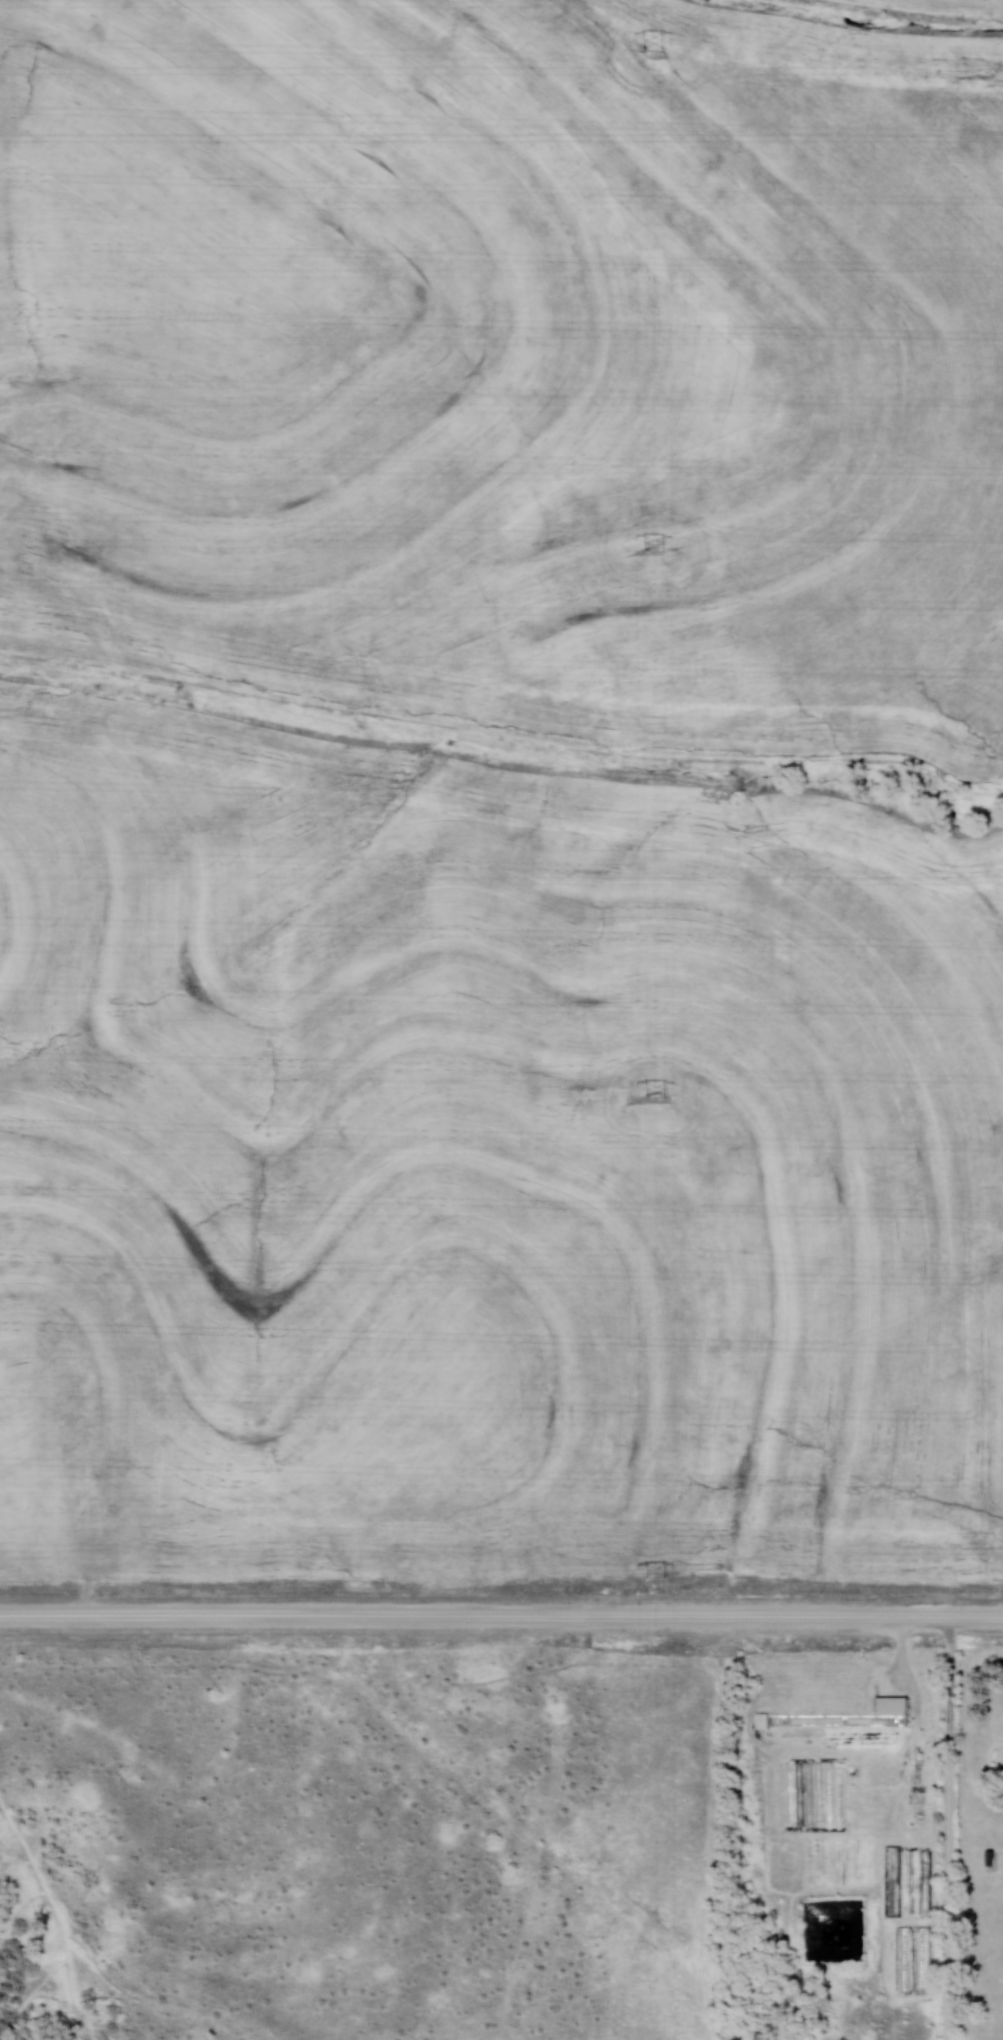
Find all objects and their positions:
power tower: (667, 61)
power tower: (665, 553)
power tower: (663, 1097)
power tower: (665, 1575)
road: (501, 1615)
road: (949, 1827)

